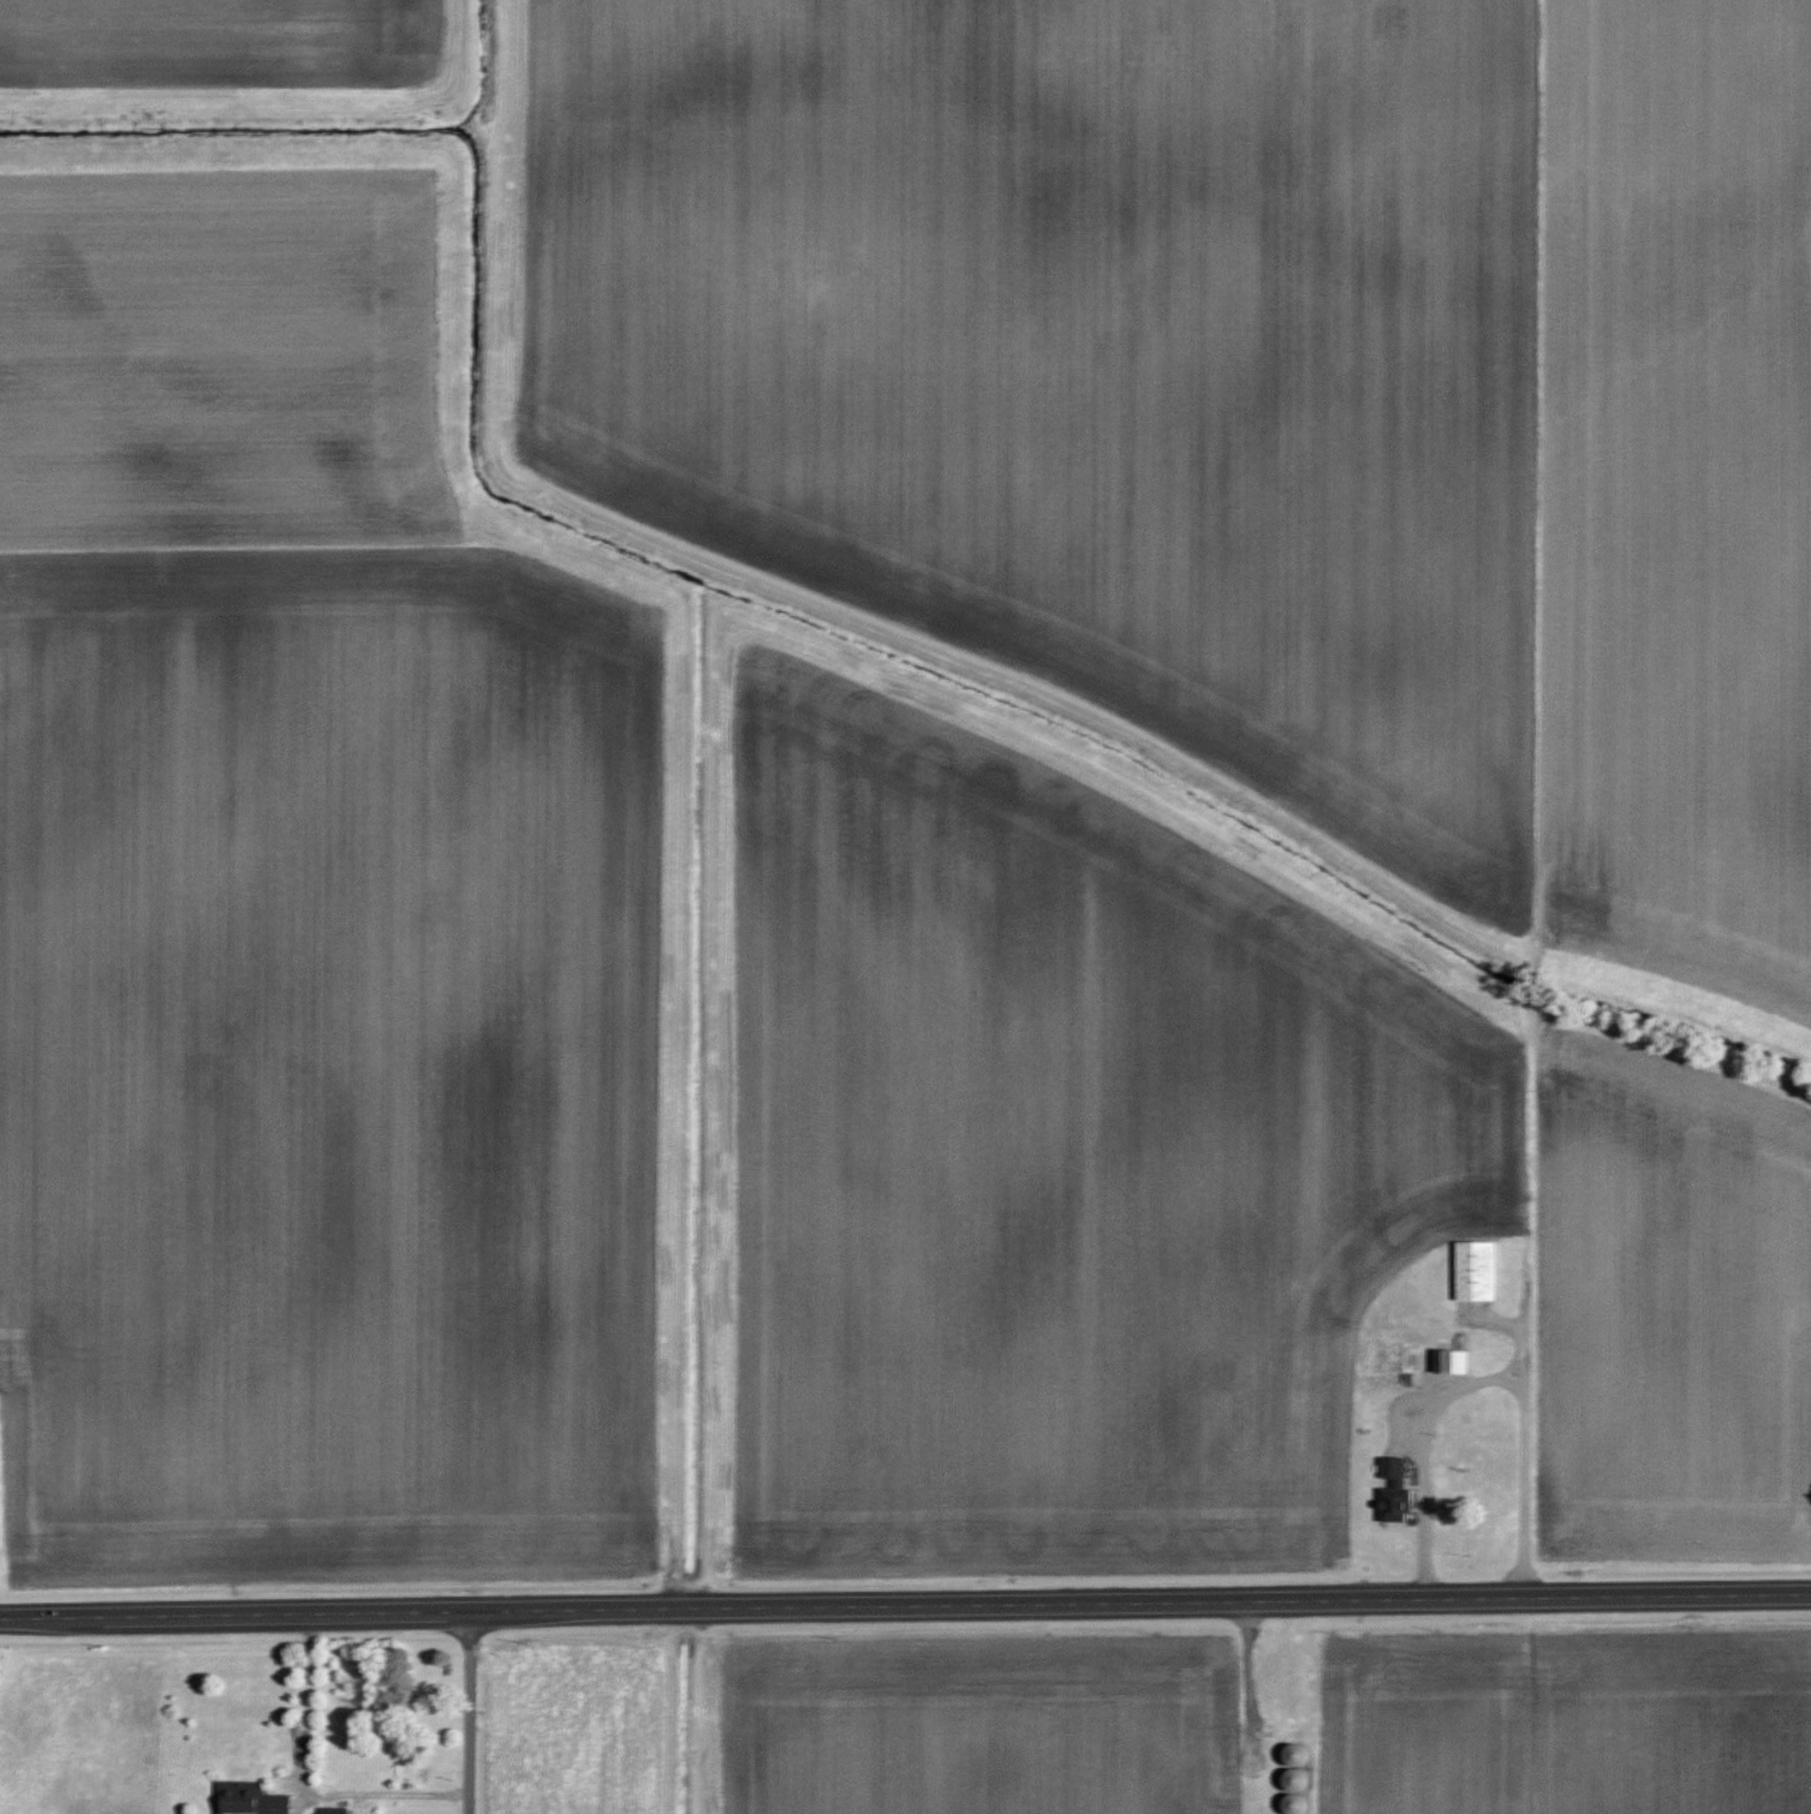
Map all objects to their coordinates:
building: (1475, 1269)
road: (1518, 1329)
building: (1448, 1360)
road: (1488, 1379)
building: (1392, 1490)
road: (905, 1605)
road: (471, 1712)
building: (249, 1798)
building: (330, 1809)

